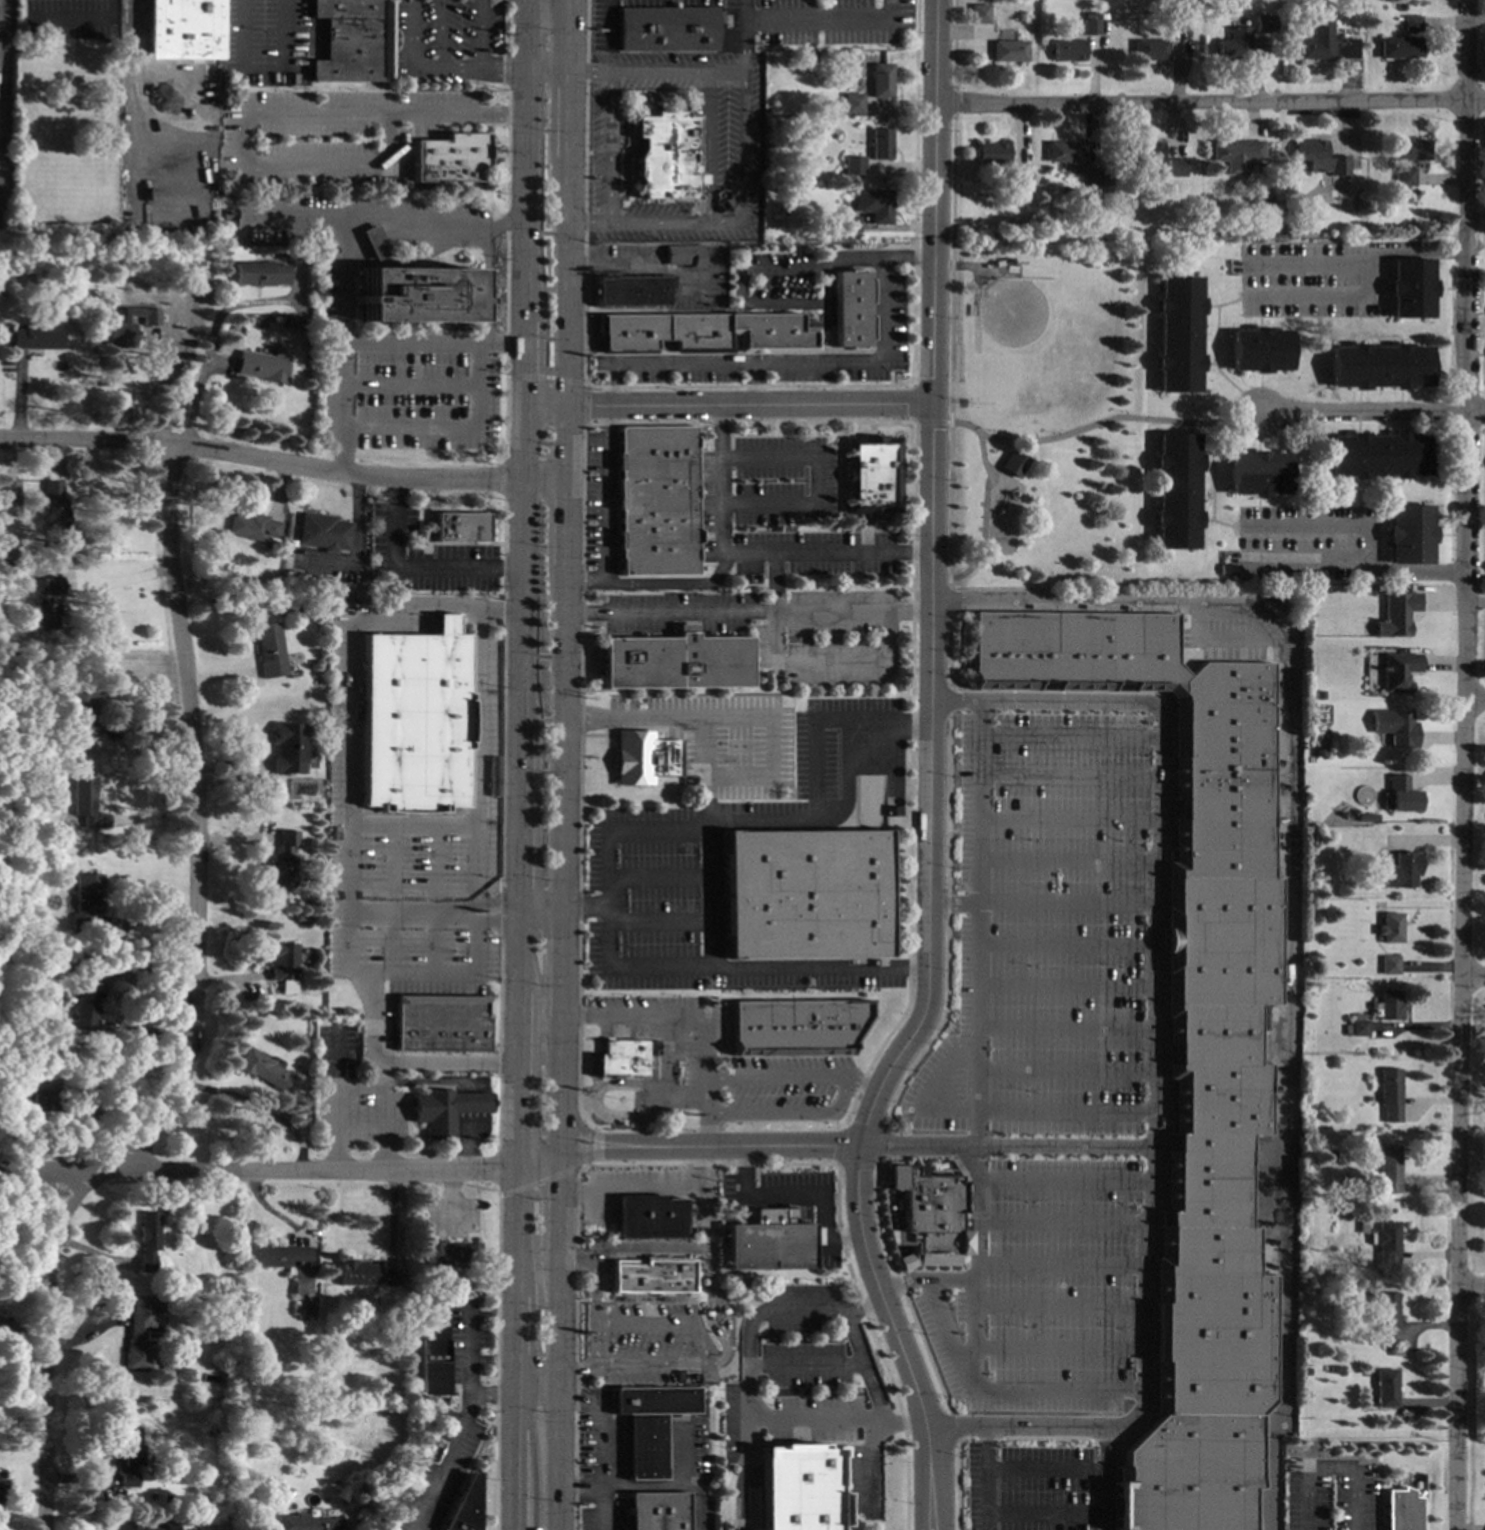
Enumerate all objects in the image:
building: (979, 13)
building: (1174, 19)
road: (96, 21)
road: (825, 21)
building: (1412, 23)
building: (1264, 24)
road: (0, 25)
building: (1090, 27)
building: (667, 28)
building: (33, 31)
road: (437, 34)
road: (477, 35)
road: (524, 36)
road: (568, 36)
road: (741, 36)
building: (352, 41)
parking lot: (263, 42)
building: (1324, 42)
parking lot: (443, 43)
building: (1233, 44)
building: (1399, 48)
building: (1068, 50)
building: (1149, 50)
building: (1009, 51)
road: (261, 67)
road: (409, 68)
road: (500, 71)
road: (546, 72)
building: (181, 73)
building: (294, 79)
building: (881, 81)
road: (128, 94)
building: (852, 102)
road: (1210, 103)
building: (767, 111)
road: (265, 115)
road: (567, 115)
building: (880, 143)
road: (608, 148)
road: (706, 148)
road: (740, 148)
building: (1411, 149)
building: (1236, 150)
building: (1063, 152)
building: (992, 153)
building: (1143, 155)
building: (667, 156)
building: (450, 158)
building: (1322, 160)
building: (1354, 164)
building: (853, 165)
building: (1175, 168)
building: (1404, 177)
building: (1090, 178)
building: (1019, 179)
building: (1332, 193)
building: (1267, 199)
building: (1389, 200)
building: (1027, 201)
building: (874, 205)
road: (294, 218)
building: (849, 224)
road: (435, 229)
building: (304, 250)
building: (683, 255)
road: (1356, 260)
road: (639, 263)
building: (261, 272)
road: (741, 272)
road: (346, 282)
road: (486, 288)
building: (1410, 288)
building: (413, 289)
building: (632, 290)
road: (1323, 298)
building: (852, 306)
road: (565, 319)
building: (129, 325)
building: (705, 333)
building: (1177, 334)
building: (7, 335)
building: (36, 336)
road: (370, 345)
park: (1040, 346)
road: (209, 347)
building: (1258, 350)
road: (822, 363)
building: (260, 366)
building: (1379, 366)
road: (752, 383)
road: (615, 387)
road: (727, 404)
road: (475, 407)
park: (1042, 412)
road: (1370, 412)
road: (1101, 420)
road: (913, 421)
building: (1378, 455)
road: (932, 460)
road: (281, 462)
building: (1013, 464)
building: (871, 474)
building: (1257, 474)
road: (815, 481)
road: (912, 482)
road: (720, 483)
building: (8, 487)
building: (1175, 491)
building: (657, 500)
road: (949, 502)
building: (53, 504)
road: (984, 511)
road: (606, 514)
road: (1331, 524)
road: (564, 525)
building: (253, 526)
building: (461, 526)
building: (323, 531)
building: (1409, 533)
road: (912, 552)
road: (827, 553)
road: (1355, 567)
building: (1227, 568)
road: (410, 570)
road: (911, 582)
road: (671, 583)
road: (774, 583)
building: (1370, 590)
road: (949, 601)
road: (1114, 603)
road: (911, 611)
road: (747, 612)
building: (1397, 613)
building: (46, 615)
road: (1223, 640)
building: (269, 649)
road: (949, 651)
building: (675, 662)
road: (910, 666)
road: (832, 670)
building: (1399, 671)
road: (1036, 699)
road: (949, 701)
road: (1477, 702)
building: (8, 706)
building: (80, 711)
building: (414, 721)
road: (910, 726)
building: (1395, 726)
road: (1070, 736)
road: (561, 738)
building: (288, 747)
road: (770, 747)
building: (1319, 752)
road: (815, 754)
building: (643, 757)
road: (1468, 765)
road: (707, 772)
road: (1070, 775)
building: (1401, 795)
road: (518, 800)
building: (85, 802)
road: (948, 806)
building: (1353, 812)
building: (1367, 816)
building: (45, 817)
road: (1069, 820)
road: (773, 822)
road: (353, 825)
road: (909, 849)
road: (474, 857)
building: (283, 860)
road: (1066, 862)
building: (1398, 869)
road: (658, 878)
building: (1365, 881)
building: (805, 893)
building: (83, 898)
road: (947, 903)
road: (953, 904)
road: (1065, 905)
road: (539, 909)
road: (496, 912)
building: (302, 915)
road: (414, 915)
road: (658, 922)
road: (151, 923)
building: (1389, 928)
parking lot: (1044, 930)
road: (1065, 943)
building: (282, 962)
road: (560, 962)
building: (1389, 964)
road: (909, 967)
road: (710, 970)
road: (1475, 979)
road: (1065, 985)
building: (86, 996)
road: (193, 1005)
building: (1388, 1005)
road: (696, 1017)
building: (442, 1022)
road: (939, 1025)
building: (797, 1027)
road: (893, 1027)
road: (1065, 1027)
building: (1358, 1028)
building: (1192, 1052)
building: (621, 1058)
road: (1153, 1067)
building: (264, 1070)
road: (1064, 1072)
road: (862, 1081)
road: (860, 1082)
road: (559, 1084)
road: (365, 1085)
road: (842, 1087)
road: (1283, 1088)
building: (1389, 1093)
building: (36, 1098)
building: (1367, 1098)
road: (471, 1102)
road: (256, 1107)
road: (849, 1108)
building: (445, 1109)
road: (998, 1112)
road: (384, 1127)
road: (976, 1128)
road: (598, 1137)
road: (470, 1140)
road: (751, 1146)
road: (1005, 1147)
road: (602, 1151)
building: (1329, 1154)
road: (537, 1160)
road: (856, 1162)
building: (1310, 1163)
building: (1388, 1169)
road: (257, 1170)
road: (1064, 1182)
road: (646, 1190)
road: (799, 1195)
road: (856, 1199)
building: (1349, 1200)
parking lot: (789, 1202)
road: (558, 1206)
road: (268, 1209)
building: (649, 1216)
building: (931, 1216)
road: (1059, 1224)
building: (1361, 1227)
building: (147, 1239)
building: (452, 1239)
building: (769, 1242)
building: (1385, 1242)
road: (663, 1255)
building: (287, 1263)
road: (1059, 1267)
road: (594, 1273)
building: (363, 1274)
building: (649, 1276)
road: (926, 1280)
building: (742, 1287)
building: (1334, 1289)
road: (1472, 1289)
parking lot: (1044, 1292)
road: (1059, 1304)
road: (708, 1317)
building: (1385, 1319)
road: (725, 1331)
road: (951, 1336)
building: (140, 1339)
parking lot: (469, 1344)
parking lot: (653, 1344)
road: (1059, 1347)
road: (702, 1348)
building: (430, 1349)
road: (470, 1355)
road: (806, 1365)
road: (865, 1366)
building: (1335, 1369)
road: (362, 1374)
road: (535, 1384)
building: (1386, 1388)
road: (747, 1390)
road: (557, 1395)
building: (649, 1424)
road: (1019, 1428)
road: (449, 1445)
road: (602, 1446)
road: (683, 1451)
building: (130, 1455)
road: (1327, 1467)
road: (871, 1468)
road: (1045, 1469)
road: (747, 1472)
parking lot: (439, 1474)
road: (986, 1478)
road: (1104, 1479)
road: (646, 1485)
building: (800, 1486)
parking lot: (1029, 1488)
building: (1, 1490)
building: (167, 1499)
road: (926, 1505)
building: (463, 1506)
road: (935, 1507)
building: (1402, 1510)
building: (655, 1511)
road: (1045, 1514)
building: (359, 1520)
building: (305, 1523)
building: (125, 1525)
road: (923, 1529)

